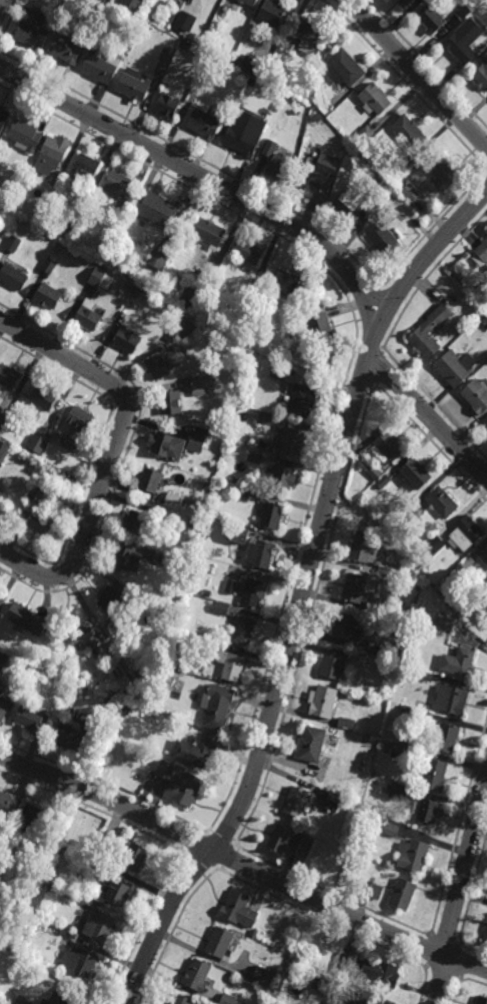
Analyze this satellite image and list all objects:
building: (110, 1)
building: (190, 2)
building: (248, 2)
building: (177, 3)
building: (403, 3)
building: (131, 4)
road: (2, 5)
building: (272, 12)
building: (464, 12)
building: (430, 18)
building: (32, 29)
building: (305, 38)
building: (465, 40)
building: (67, 47)
building: (165, 58)
building: (255, 64)
building: (100, 65)
building: (343, 68)
road: (418, 72)
building: (481, 75)
building: (197, 83)
building: (133, 84)
building: (374, 98)
building: (167, 104)
building: (3, 116)
building: (205, 123)
building: (245, 131)
building: (409, 131)
building: (365, 133)
building: (25, 135)
building: (52, 153)
building: (278, 161)
building: (85, 168)
building: (400, 170)
building: (321, 172)
building: (443, 173)
building: (57, 178)
building: (116, 185)
building: (82, 191)
building: (410, 192)
building: (377, 193)
building: (392, 195)
building: (348, 201)
building: (159, 209)
building: (75, 218)
road: (291, 225)
building: (486, 230)
building: (209, 231)
building: (486, 231)
building: (383, 238)
building: (13, 244)
building: (248, 250)
building: (481, 253)
building: (155, 258)
building: (48, 265)
building: (12, 276)
building: (97, 276)
building: (290, 283)
building: (128, 284)
building: (254, 287)
building: (47, 295)
building: (192, 298)
building: (87, 317)
building: (484, 321)
building: (183, 328)
building: (319, 328)
building: (430, 330)
building: (127, 340)
building: (285, 359)
building: (162, 361)
building: (456, 366)
building: (326, 369)
building: (279, 371)
building: (9, 376)
building: (202, 383)
building: (477, 395)
building: (43, 396)
building: (301, 400)
building: (171, 402)
building: (4, 406)
building: (80, 418)
building: (2, 419)
building: (265, 419)
road: (123, 420)
building: (486, 422)
building: (293, 439)
building: (196, 441)
building: (71, 442)
building: (37, 443)
building: (161, 443)
building: (387, 443)
building: (3, 450)
building: (254, 457)
building: (414, 474)
building: (379, 476)
building: (283, 478)
building: (151, 480)
building: (243, 491)
building: (1, 492)
building: (39, 496)
building: (173, 500)
building: (442, 502)
building: (273, 515)
building: (135, 521)
building: (40, 523)
building: (194, 525)
building: (466, 533)
building: (240, 534)
building: (435, 544)
building: (364, 548)
building: (259, 554)
building: (483, 555)
building: (155, 556)
building: (125, 557)
road: (29, 569)
building: (459, 574)
building: (231, 586)
building: (359, 588)
building: (252, 591)
building: (0, 592)
road: (302, 594)
building: (109, 598)
building: (485, 606)
building: (221, 608)
building: (398, 611)
building: (0, 614)
building: (28, 618)
building: (445, 621)
building: (346, 626)
building: (242, 629)
building: (84, 638)
building: (390, 650)
building: (179, 653)
building: (3, 657)
building: (465, 659)
building: (176, 663)
building: (334, 663)
building: (231, 664)
building: (36, 671)
building: (424, 673)
building: (119, 689)
building: (420, 689)
building: (451, 698)
building: (323, 700)
building: (3, 702)
building: (108, 705)
building: (217, 705)
building: (175, 708)
building: (406, 708)
building: (126, 709)
building: (420, 713)
building: (31, 719)
building: (346, 722)
building: (77, 733)
building: (445, 736)
building: (311, 743)
building: (399, 749)
building: (195, 752)
building: (434, 774)
building: (180, 783)
building: (399, 791)
building: (296, 801)
building: (333, 801)
building: (8, 805)
building: (427, 809)
building: (34, 814)
building: (391, 829)
building: (280, 838)
building: (303, 845)
building: (137, 851)
building: (413, 853)
building: (93, 863)
road: (243, 865)
building: (115, 889)
building: (373, 890)
road: (458, 892)
building: (403, 893)
building: (240, 911)
building: (23, 920)
building: (486, 925)
building: (100, 927)
building: (486, 938)
building: (220, 942)
building: (80, 961)
road: (417, 963)
building: (371, 968)
building: (197, 975)
building: (261, 976)
building: (328, 987)
building: (57, 999)
building: (228, 999)
building: (22, 1000)
building: (181, 1000)
building: (482, 1000)
building: (369, 1001)
building: (352, 1003)

